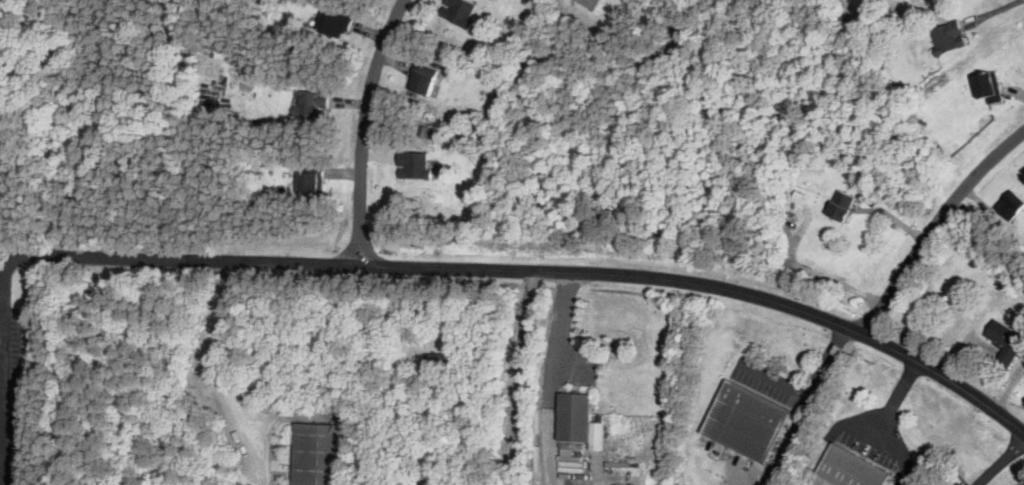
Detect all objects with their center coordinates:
building: (593, 3)
building: (459, 11)
building: (336, 24)
building: (949, 37)
building: (424, 82)
building: (990, 87)
building: (313, 105)
road: (364, 127)
building: (414, 165)
building: (312, 179)
building: (1013, 203)
building: (842, 205)
road: (937, 225)
road: (15, 257)
road: (546, 273)
road: (1, 303)
road: (1, 323)
road: (560, 338)
building: (1006, 341)
road: (213, 363)
road: (517, 378)
road: (811, 390)
building: (580, 420)
building: (747, 420)
road: (548, 444)
building: (320, 454)
road: (1002, 460)
building: (851, 468)

